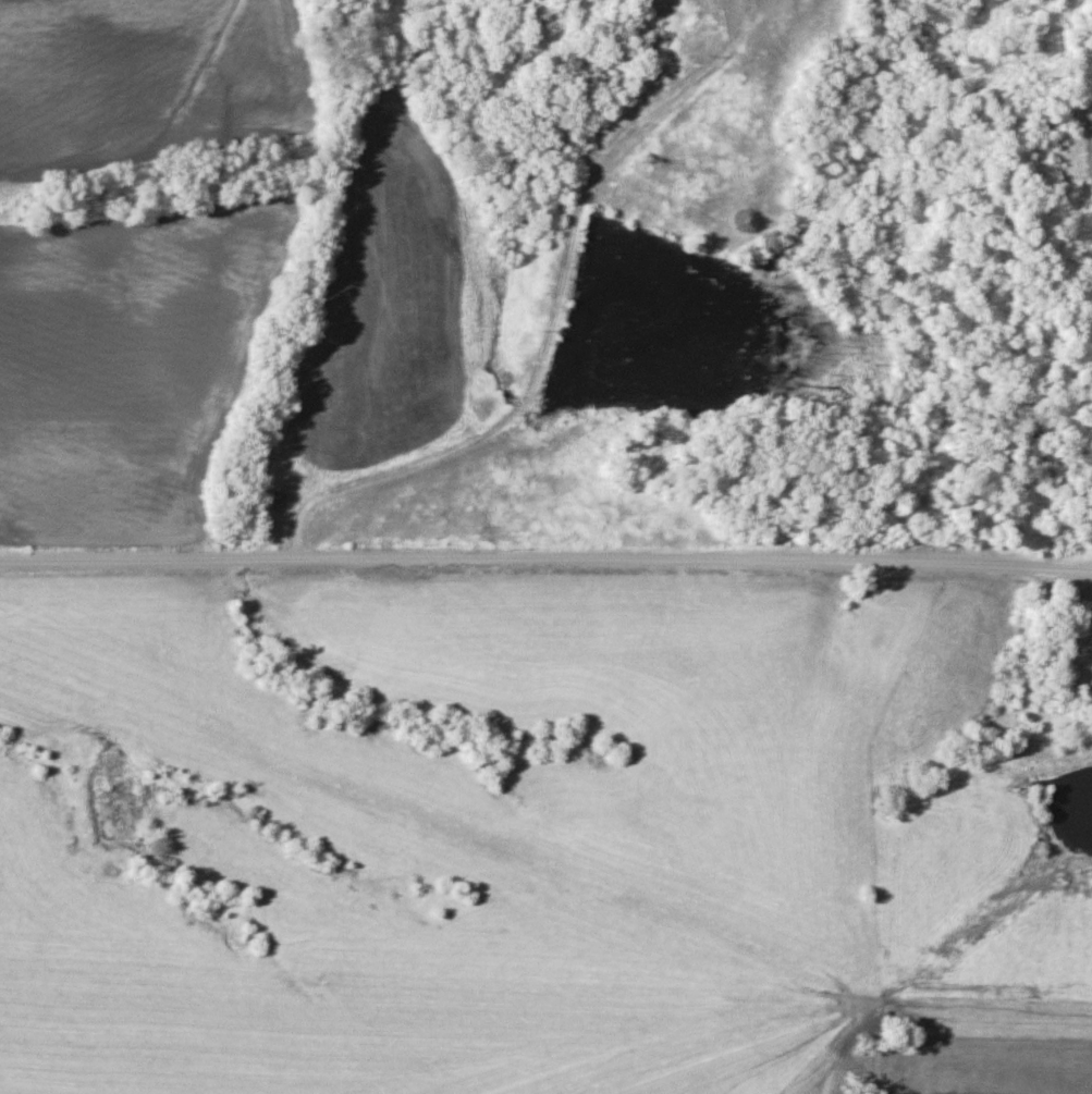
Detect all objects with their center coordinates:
road: (567, 265)
road: (363, 476)
road: (545, 561)

